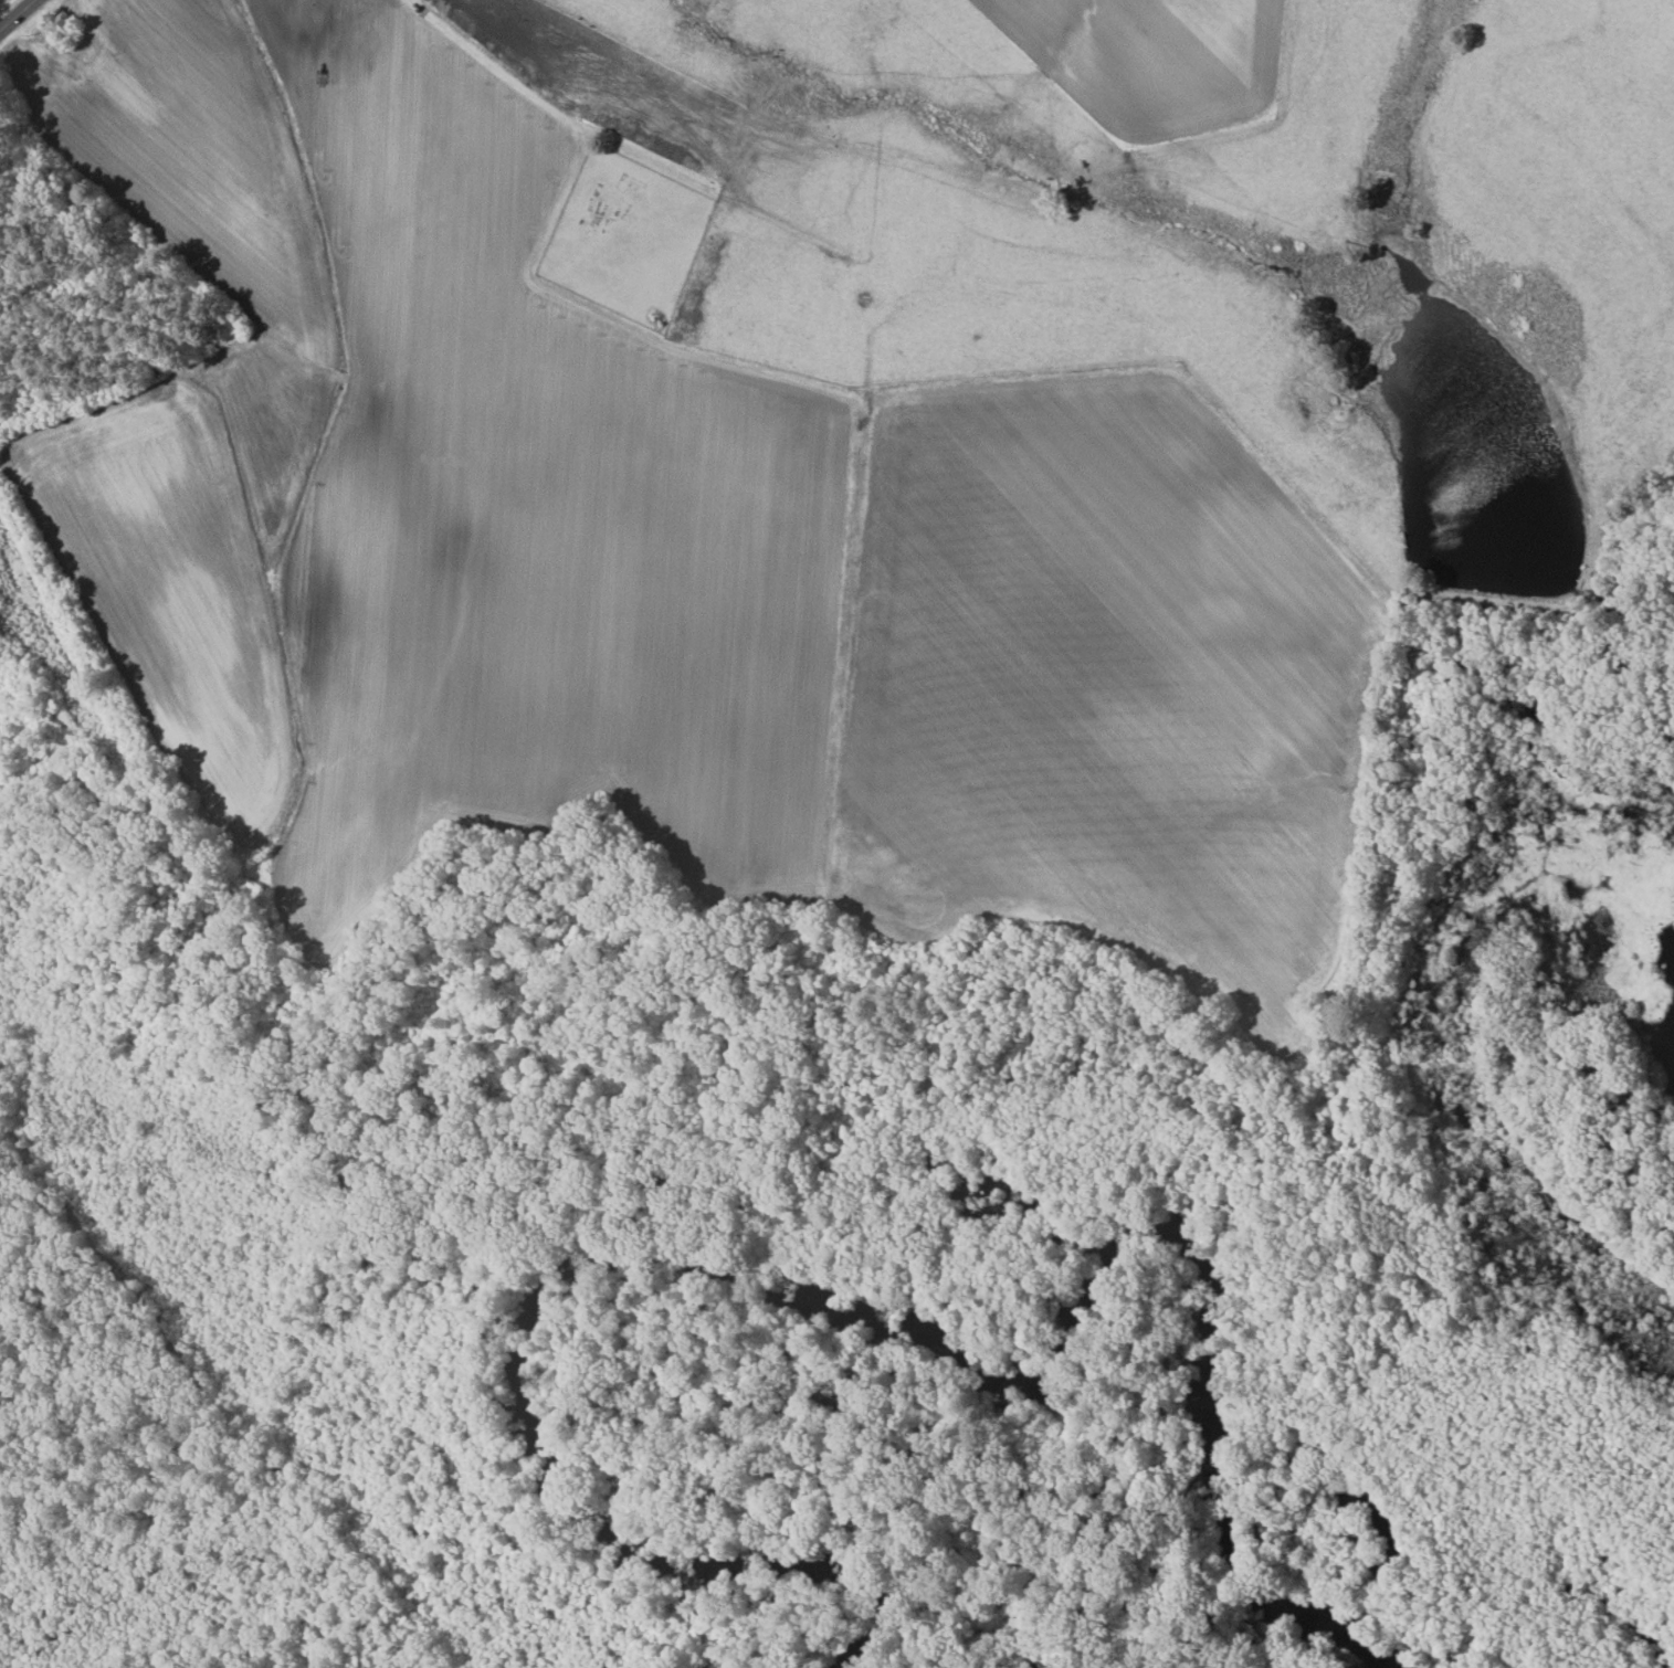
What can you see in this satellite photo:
road: (19, 17)

